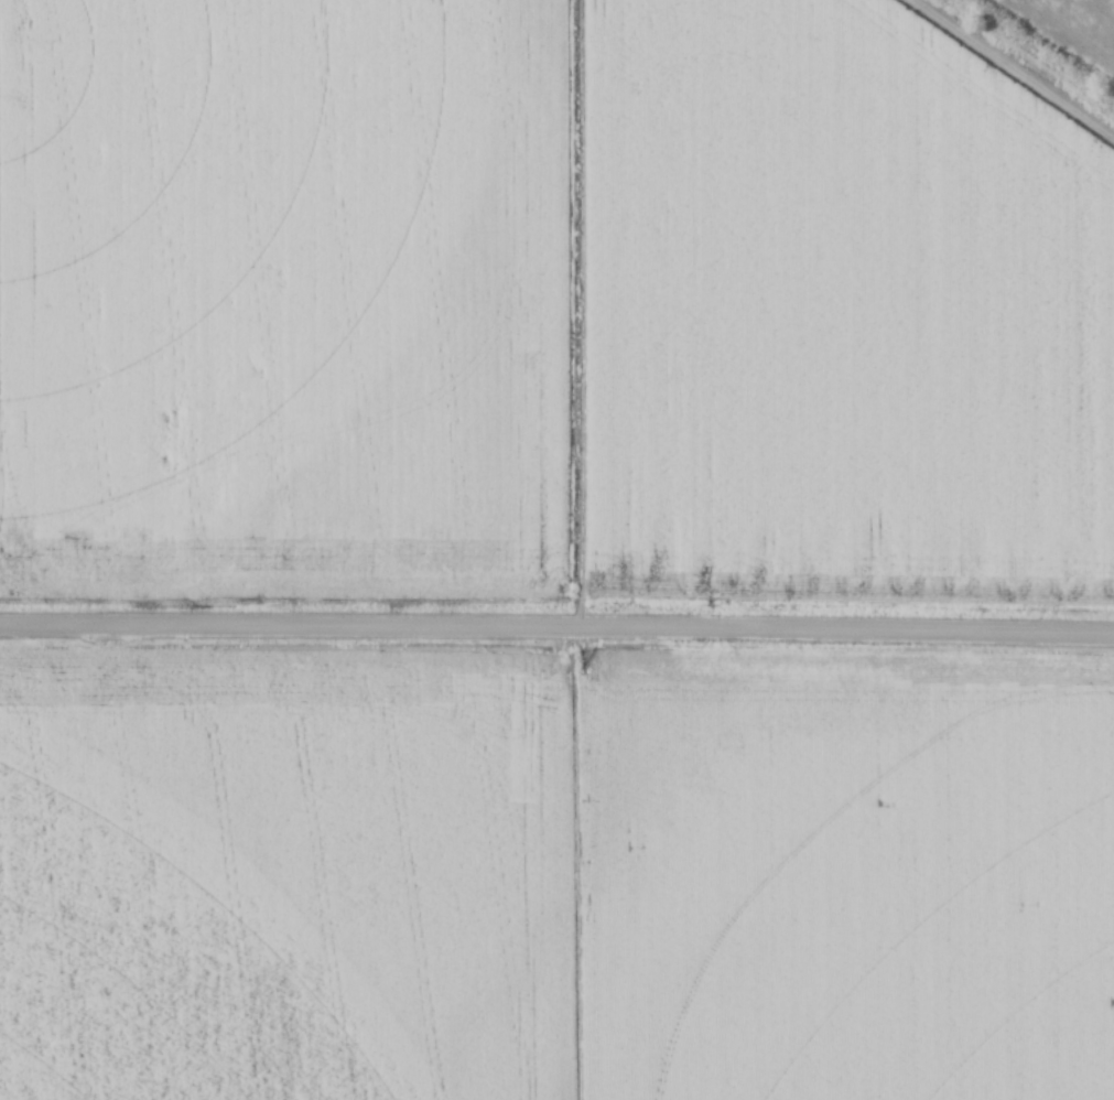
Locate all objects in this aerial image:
crop: (550, 302)
road: (556, 628)
crop: (554, 883)

